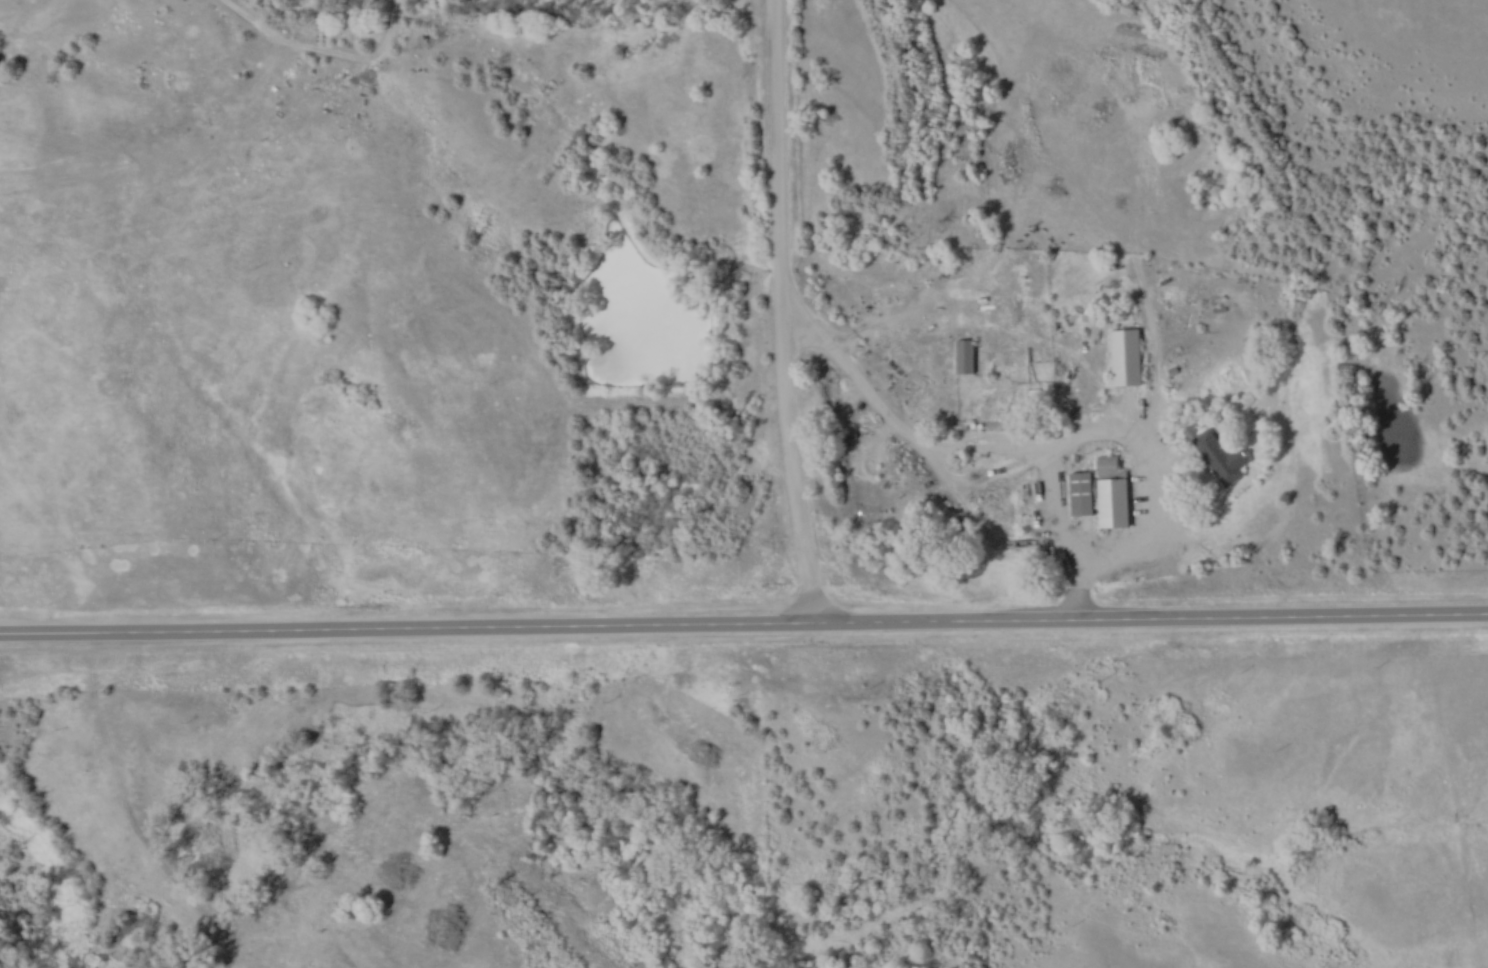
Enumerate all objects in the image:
road: (784, 315)
building: (966, 356)
building: (1127, 358)
building: (1220, 455)
road: (1049, 473)
building: (1082, 492)
building: (1113, 493)
road: (744, 629)

